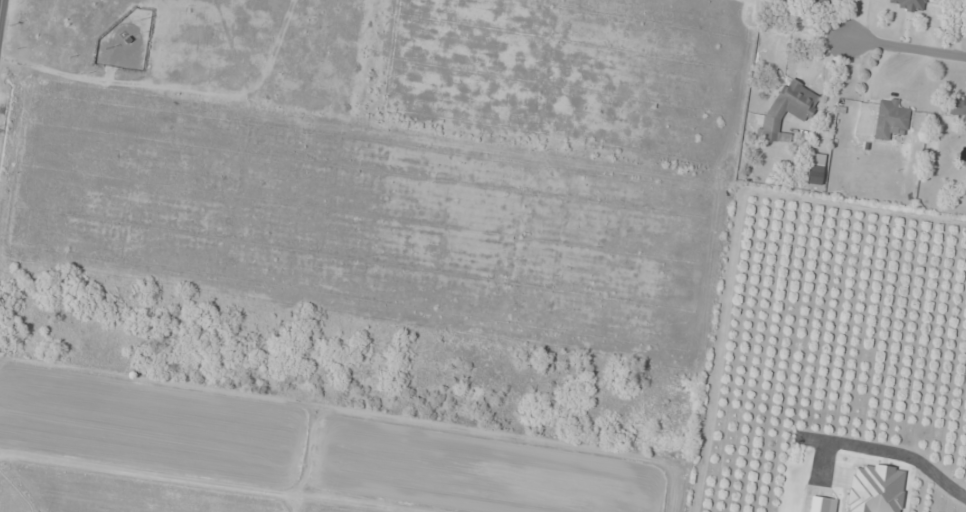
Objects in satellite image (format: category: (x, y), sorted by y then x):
building: (907, 4)
road: (1, 12)
road: (909, 50)
building: (957, 107)
building: (789, 109)
building: (890, 119)
building: (965, 128)
building: (815, 169)
road: (887, 449)
building: (822, 505)

